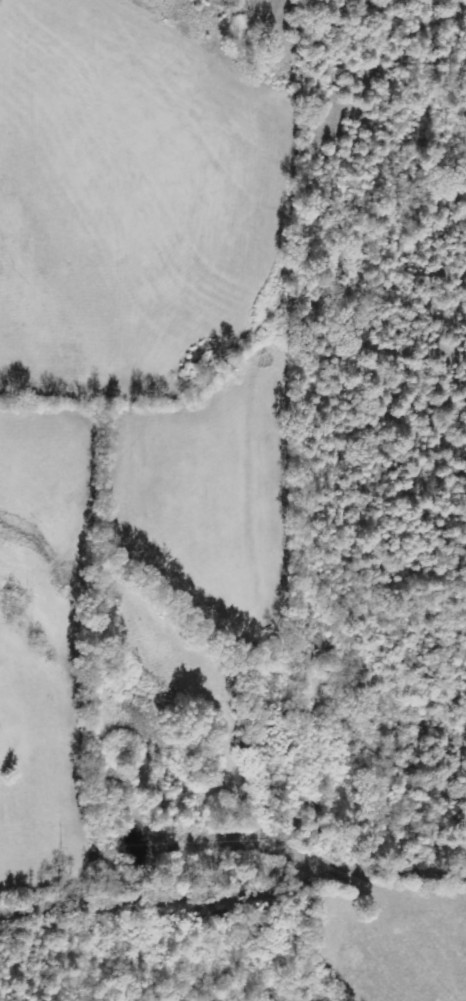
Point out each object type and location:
road: (233, 894)

